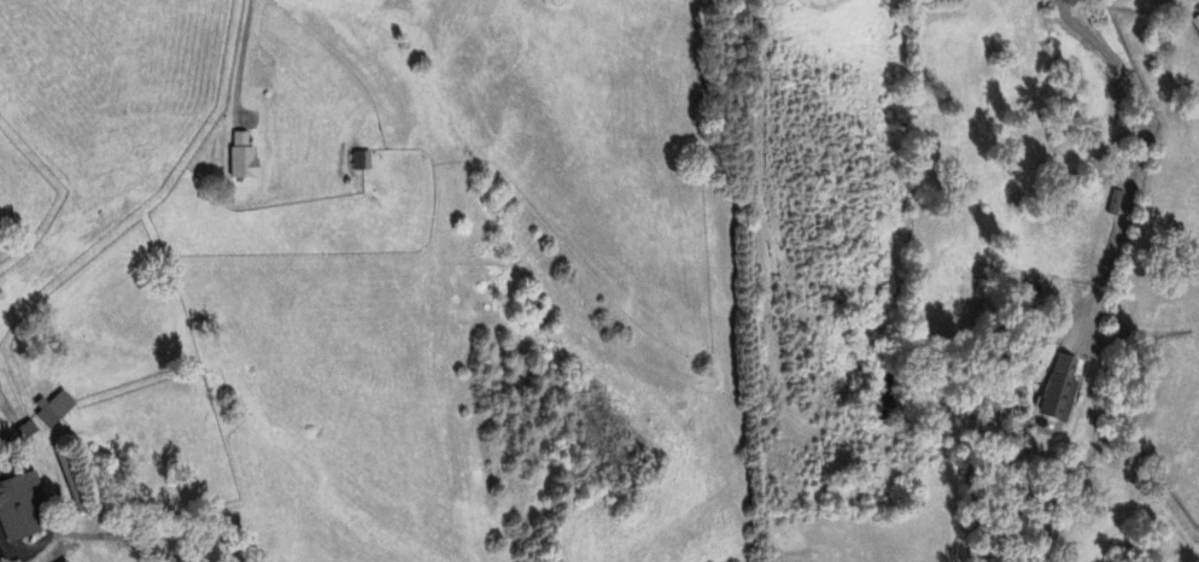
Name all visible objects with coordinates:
building: (1194, 27)
road: (242, 52)
building: (241, 159)
building: (359, 163)
road: (1139, 163)
building: (1112, 205)
building: (1054, 392)
building: (57, 411)
building: (21, 509)
road: (1, 548)

